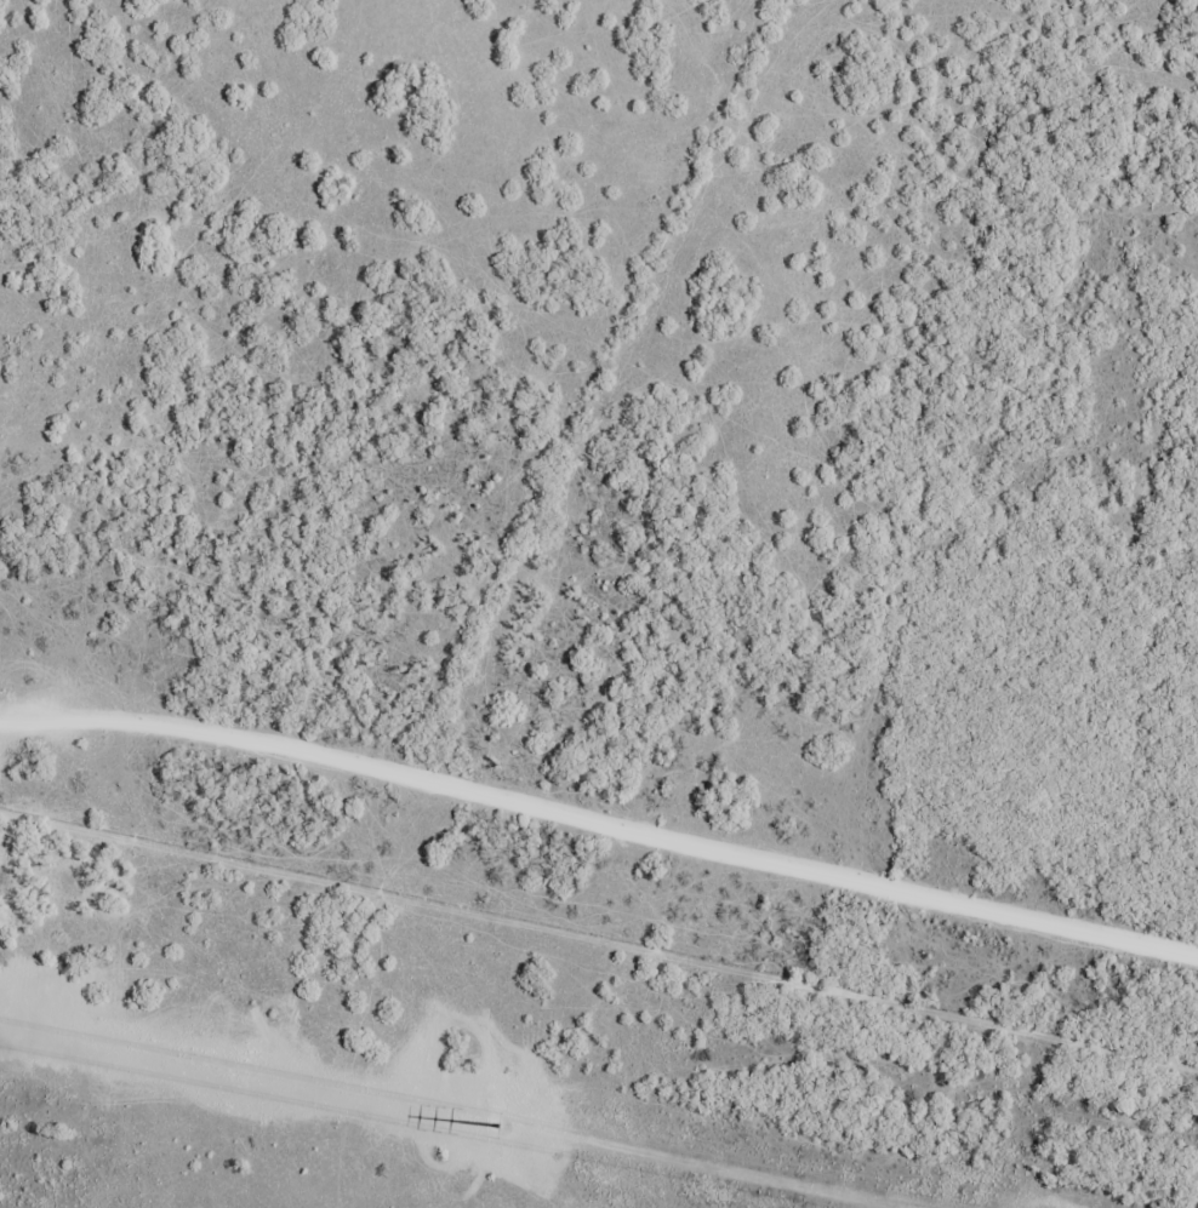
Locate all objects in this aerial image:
road: (467, 363)
road: (600, 813)
power tower: (501, 1129)

